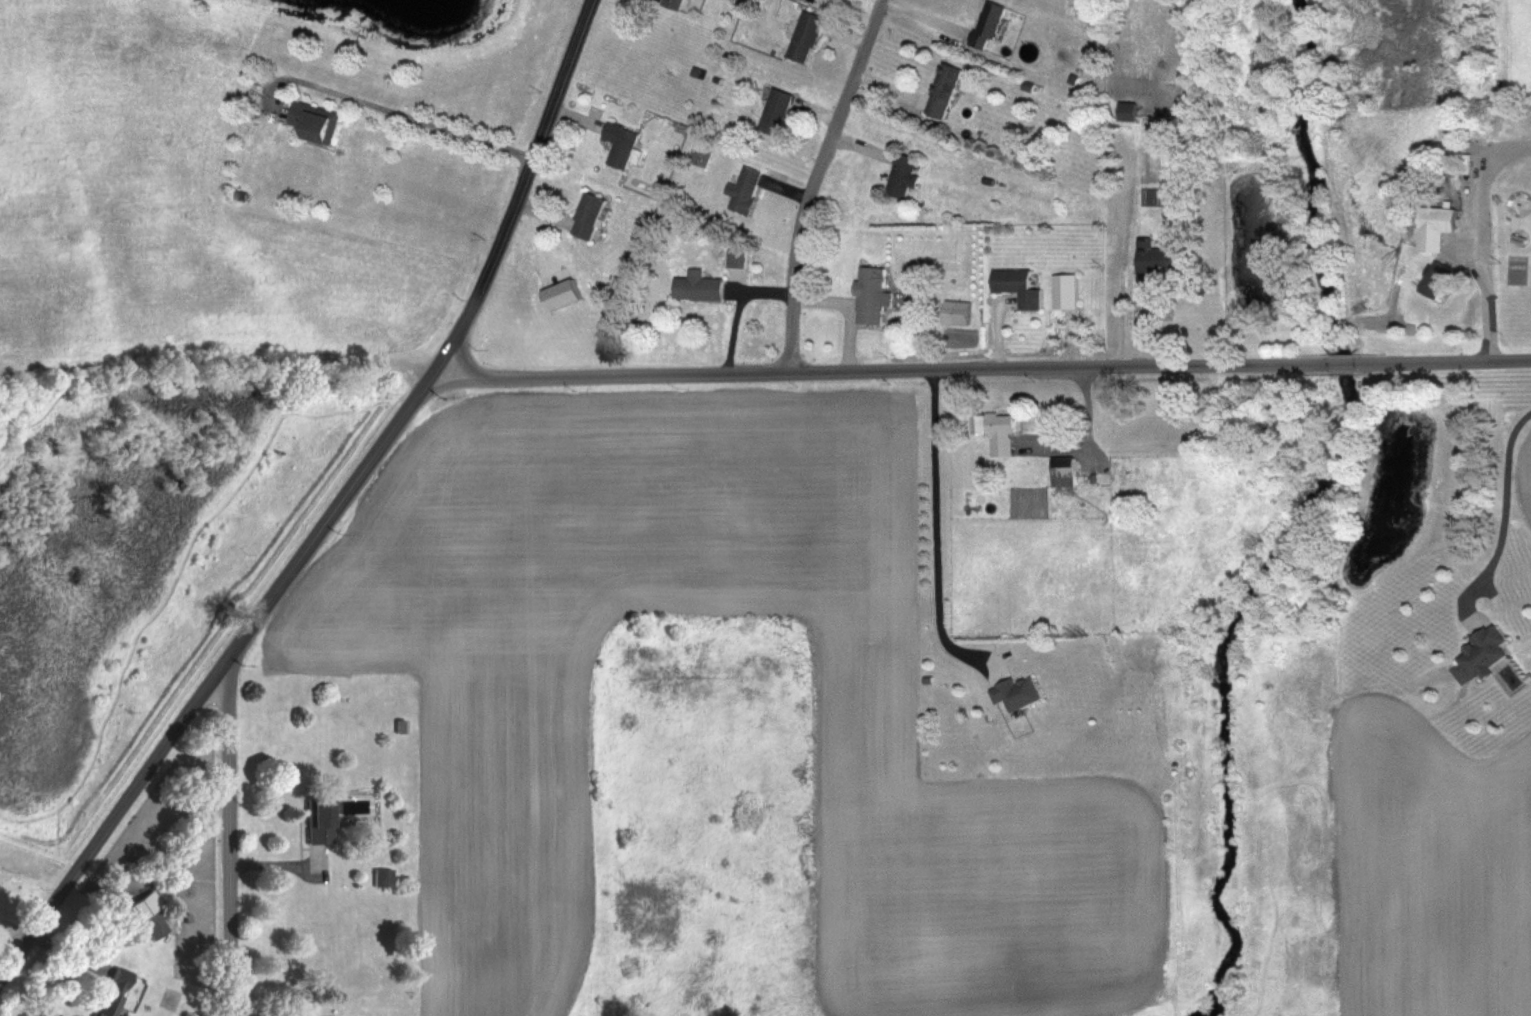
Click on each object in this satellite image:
building: (671, 3)
building: (986, 24)
building: (804, 36)
building: (1028, 86)
building: (941, 90)
road: (388, 109)
building: (1127, 110)
building: (774, 112)
building: (313, 122)
building: (618, 144)
building: (699, 156)
building: (901, 175)
road: (815, 179)
building: (743, 189)
building: (1515, 204)
building: (586, 216)
building: (1433, 226)
building: (1157, 256)
building: (1434, 279)
road: (1483, 282)
building: (696, 287)
building: (1016, 287)
building: (1064, 291)
building: (869, 295)
building: (954, 311)
road: (1441, 357)
road: (442, 358)
road: (1340, 359)
road: (881, 367)
building: (994, 430)
road: (1087, 431)
building: (1062, 471)
crop: (1526, 481)
road: (1507, 511)
road: (936, 526)
building: (1478, 653)
building: (1014, 692)
building: (398, 726)
building: (314, 820)
road: (107, 824)
road: (229, 844)
crop: (1432, 868)
building: (379, 876)
building: (151, 923)
building: (107, 991)

